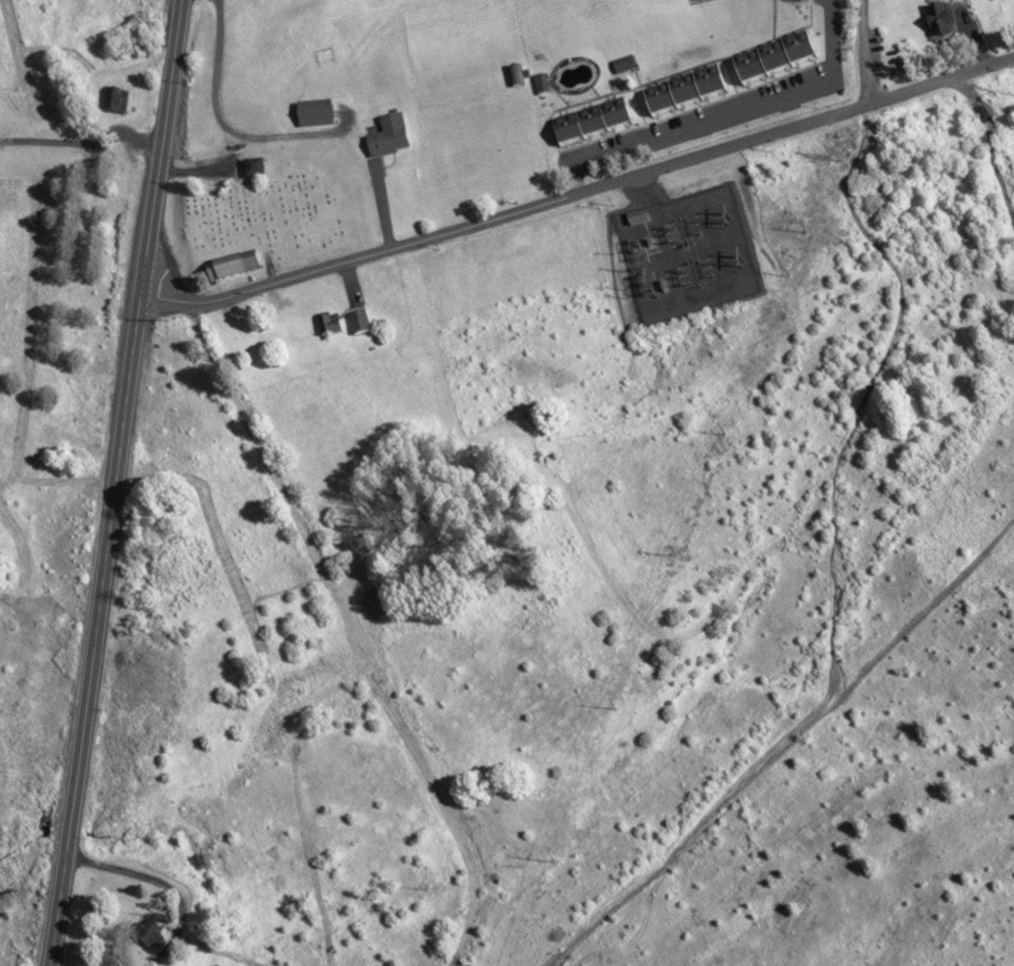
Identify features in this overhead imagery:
building: (937, 19)
building: (769, 55)
building: (514, 74)
building: (680, 88)
building: (541, 91)
building: (113, 99)
road: (740, 109)
building: (312, 112)
building: (587, 119)
building: (386, 134)
road: (80, 138)
road: (159, 143)
building: (251, 167)
road: (577, 191)
power tower: (716, 217)
power substation: (683, 248)
power tower: (730, 252)
building: (229, 265)
building: (355, 321)
road: (94, 626)
building: (148, 932)

